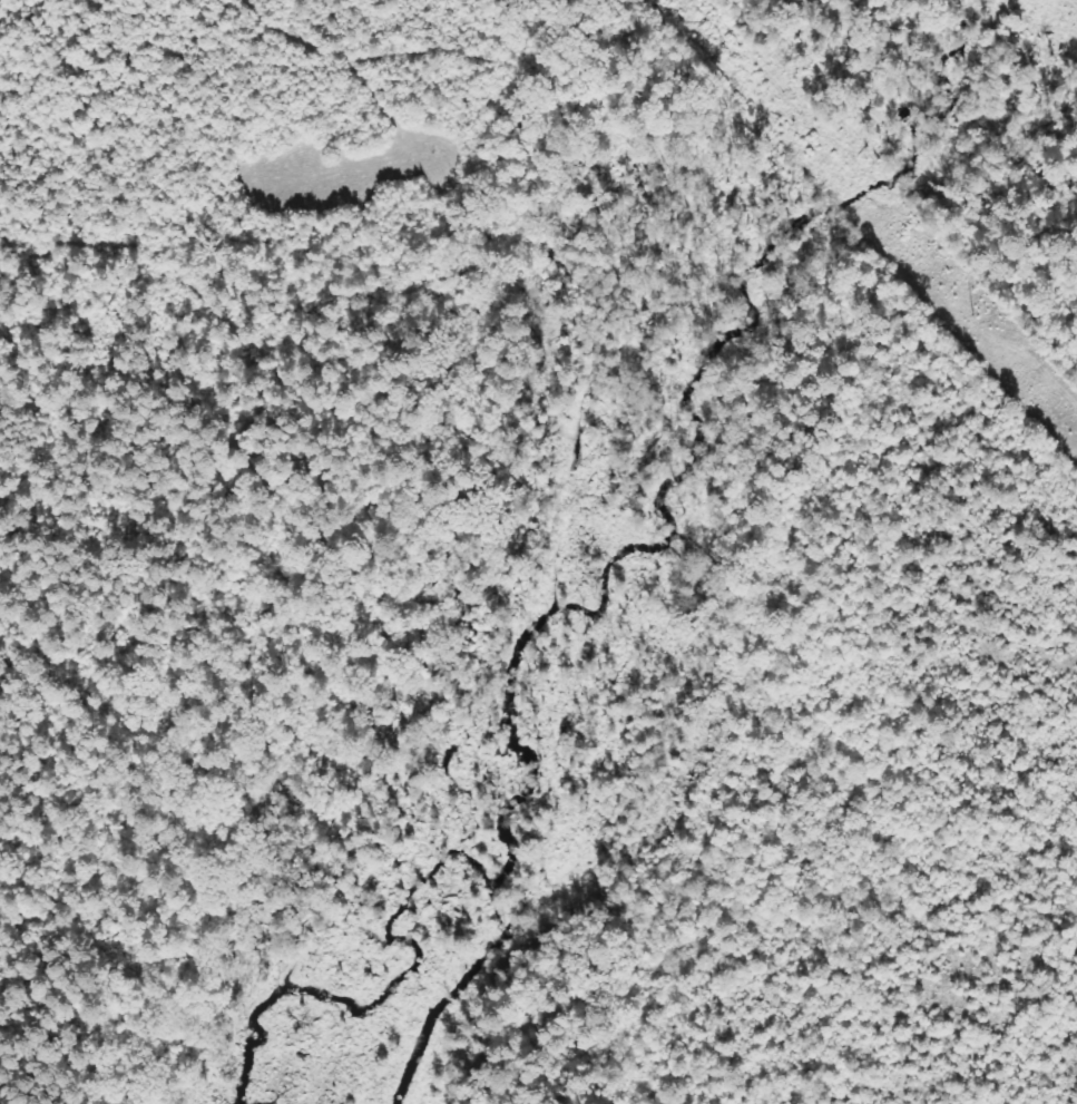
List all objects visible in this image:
power tower: (726, 43)
power tower: (975, 315)

